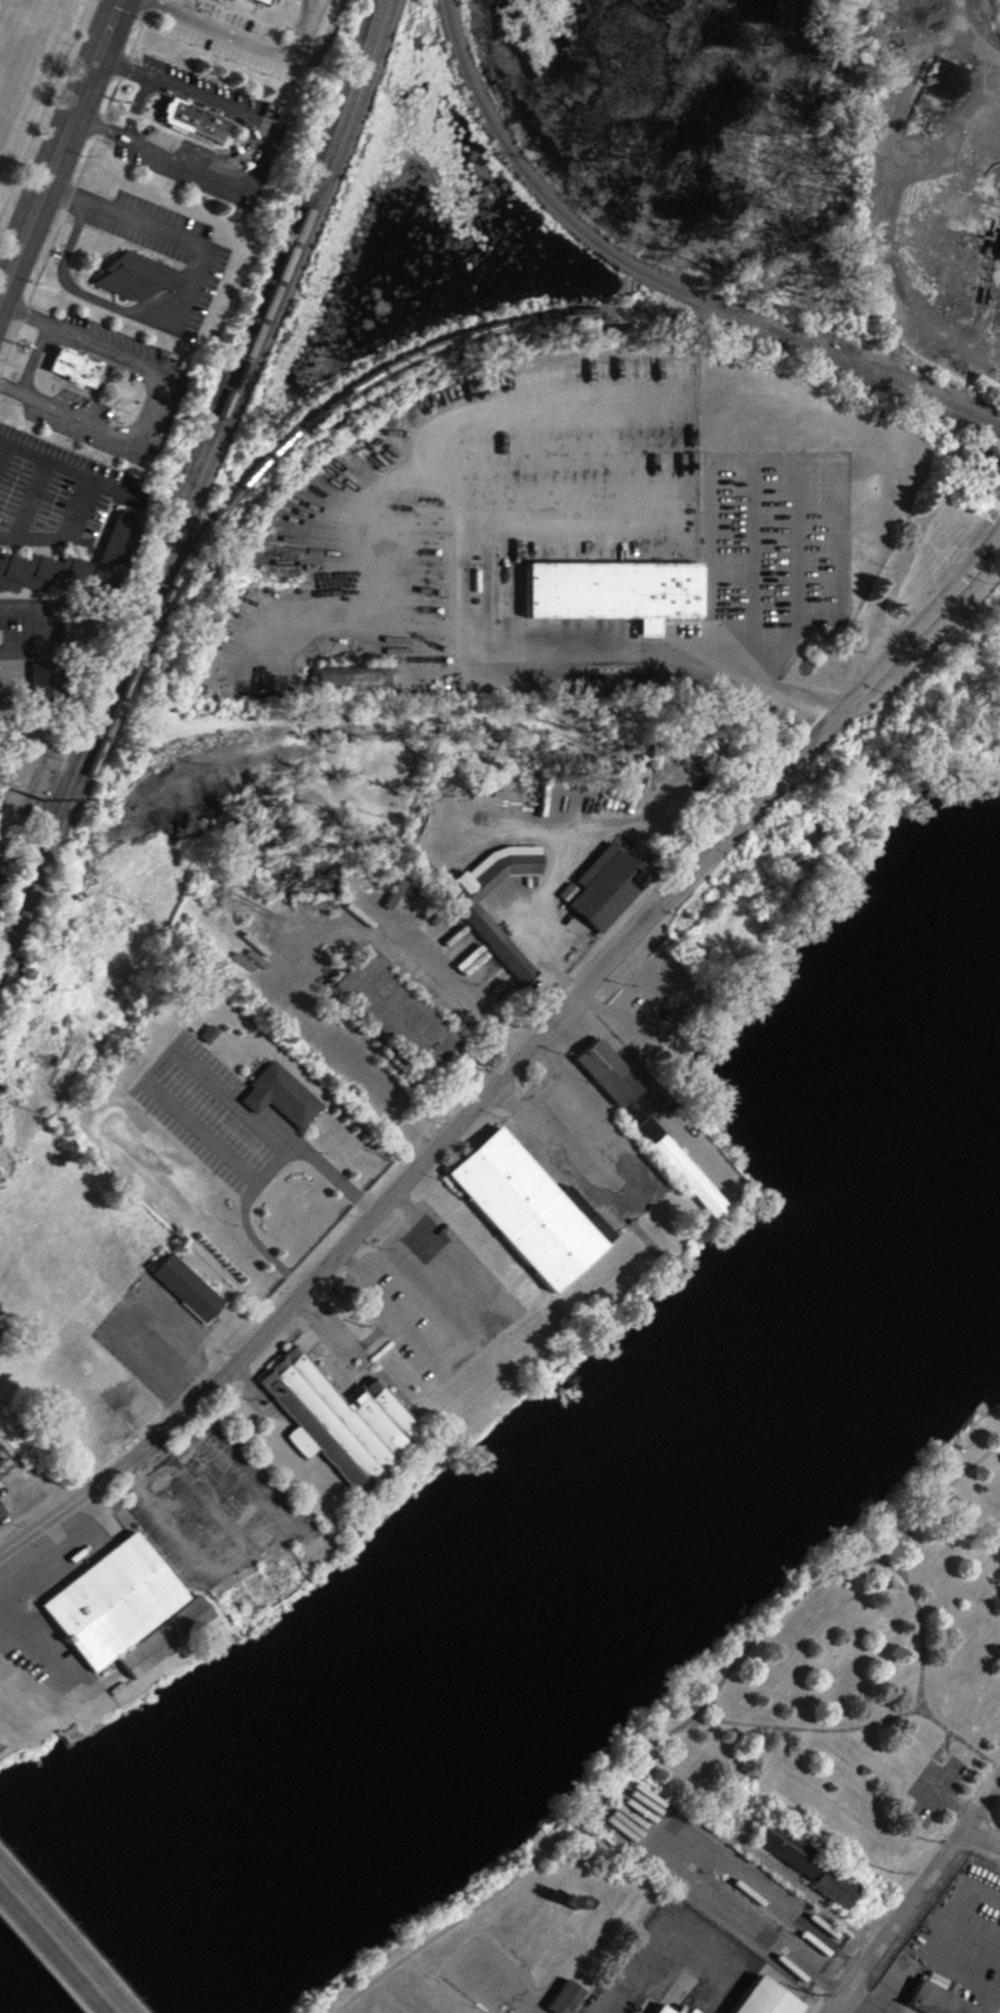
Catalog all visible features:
building: (269, 1)
park: (28, 68)
building: (193, 117)
road: (59, 148)
building: (913, 245)
building: (134, 275)
railway: (661, 281)
railway: (270, 293)
building: (71, 364)
building: (984, 387)
railway: (322, 409)
railway: (201, 441)
road: (727, 458)
railway: (204, 479)
road: (75, 486)
road: (15, 491)
building: (70, 563)
building: (608, 590)
building: (347, 678)
building: (35, 685)
road: (3, 730)
building: (628, 796)
building: (544, 801)
building: (271, 878)
building: (597, 887)
railway: (36, 890)
building: (488, 935)
road: (535, 947)
building: (389, 1011)
building: (201, 1036)
road: (516, 1060)
building: (600, 1070)
building: (275, 1095)
building: (521, 1208)
building: (183, 1287)
road: (118, 1304)
road: (469, 1335)
building: (331, 1419)
road: (887, 1565)
building: (258, 1589)
building: (115, 1609)
river: (527, 1609)
road: (30, 1667)
road: (712, 1710)
road: (879, 1720)
road: (671, 1728)
road: (956, 1735)
road: (942, 1746)
park: (744, 1755)
parking lot: (932, 1787)
road: (937, 1788)
road: (953, 1804)
road: (649, 1832)
road: (982, 1836)
building: (802, 1861)
parking lot: (715, 1878)
road: (797, 1885)
road: (916, 1894)
building: (565, 1902)
road: (954, 1925)
road: (55, 1949)
road: (531, 1949)
road: (648, 1951)
road: (912, 1958)
parking lot: (673, 1964)
parking lot: (484, 1975)
road: (499, 1987)
road: (890, 1990)
building: (559, 1998)
building: (759, 1998)
building: (930, 2001)
road: (862, 2004)
building: (680, 2009)
building: (656, 2010)

